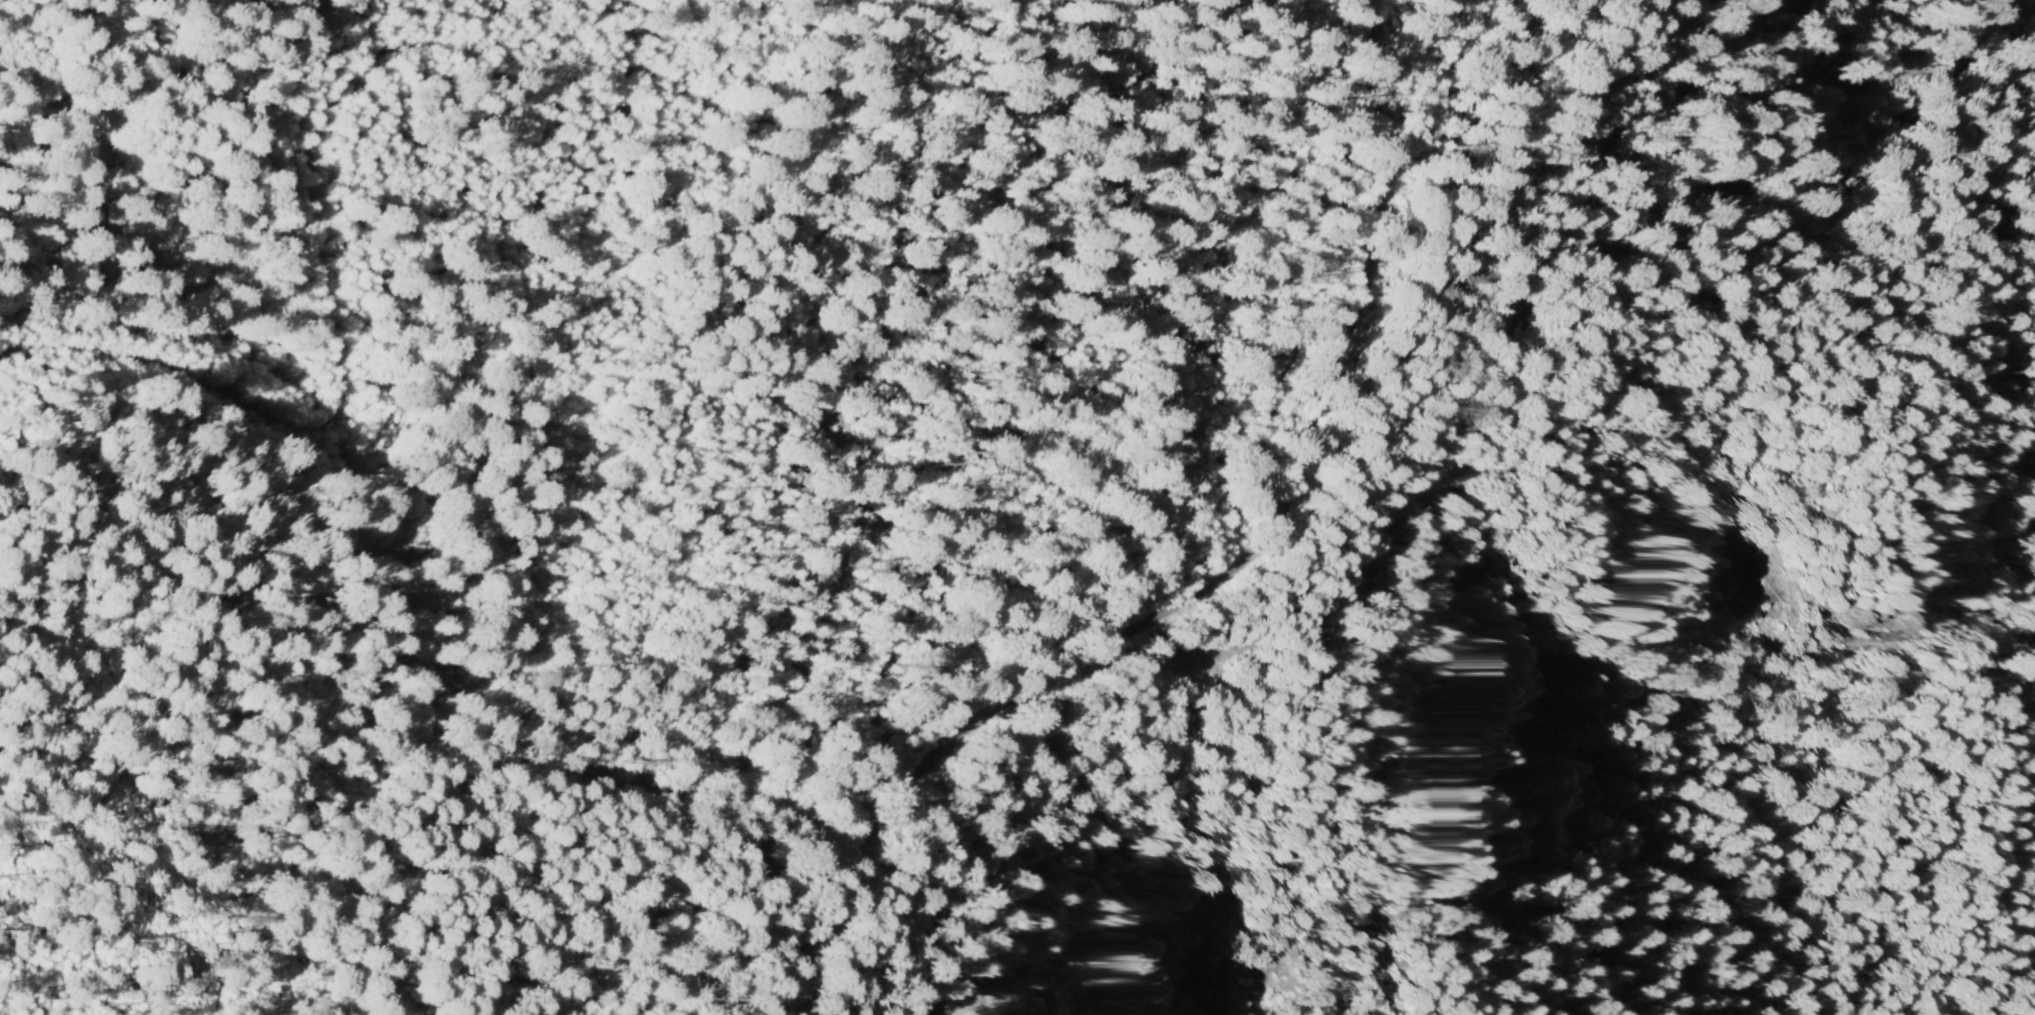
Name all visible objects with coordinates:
road: (310, 325)

